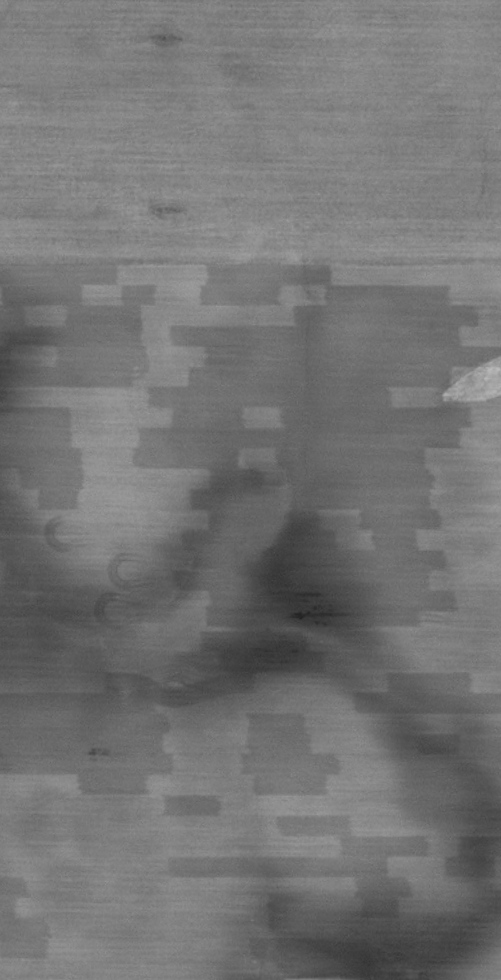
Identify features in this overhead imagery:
crop: (250, 490)

